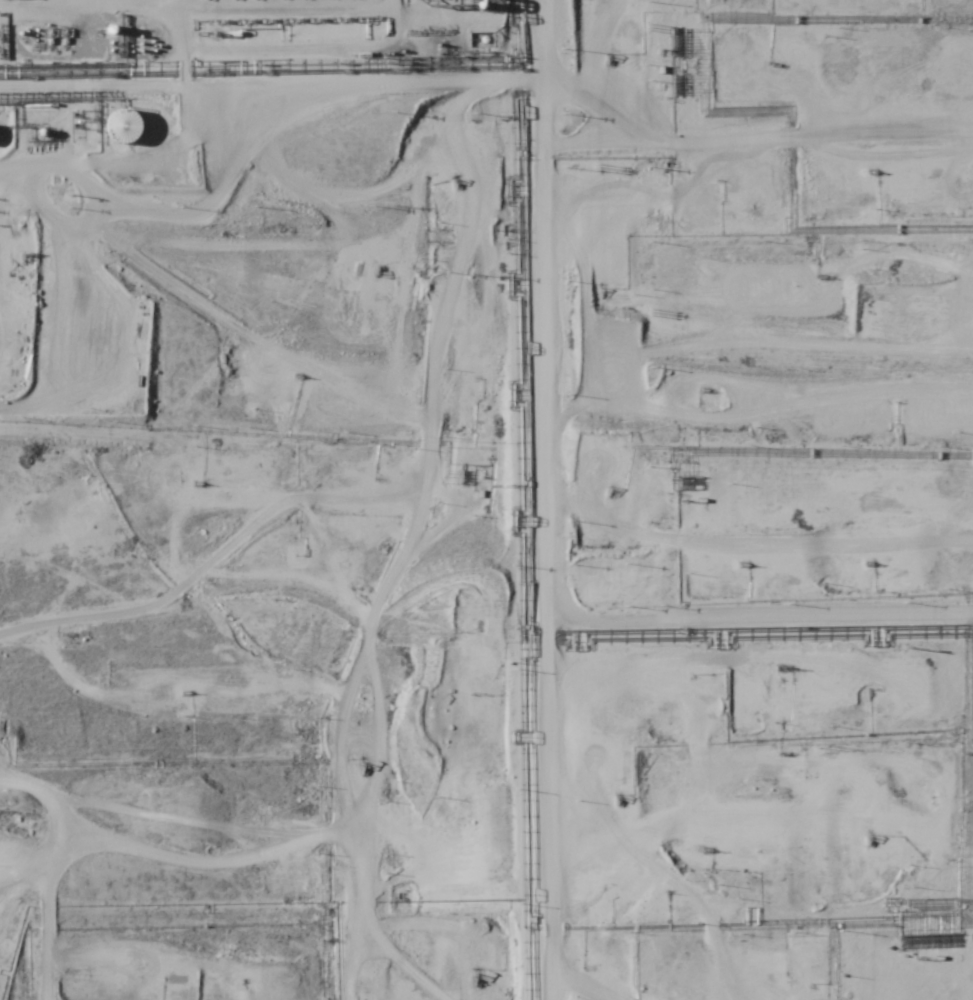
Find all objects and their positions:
building: (10, 27)
road: (818, 100)
building: (124, 126)
road: (289, 451)

